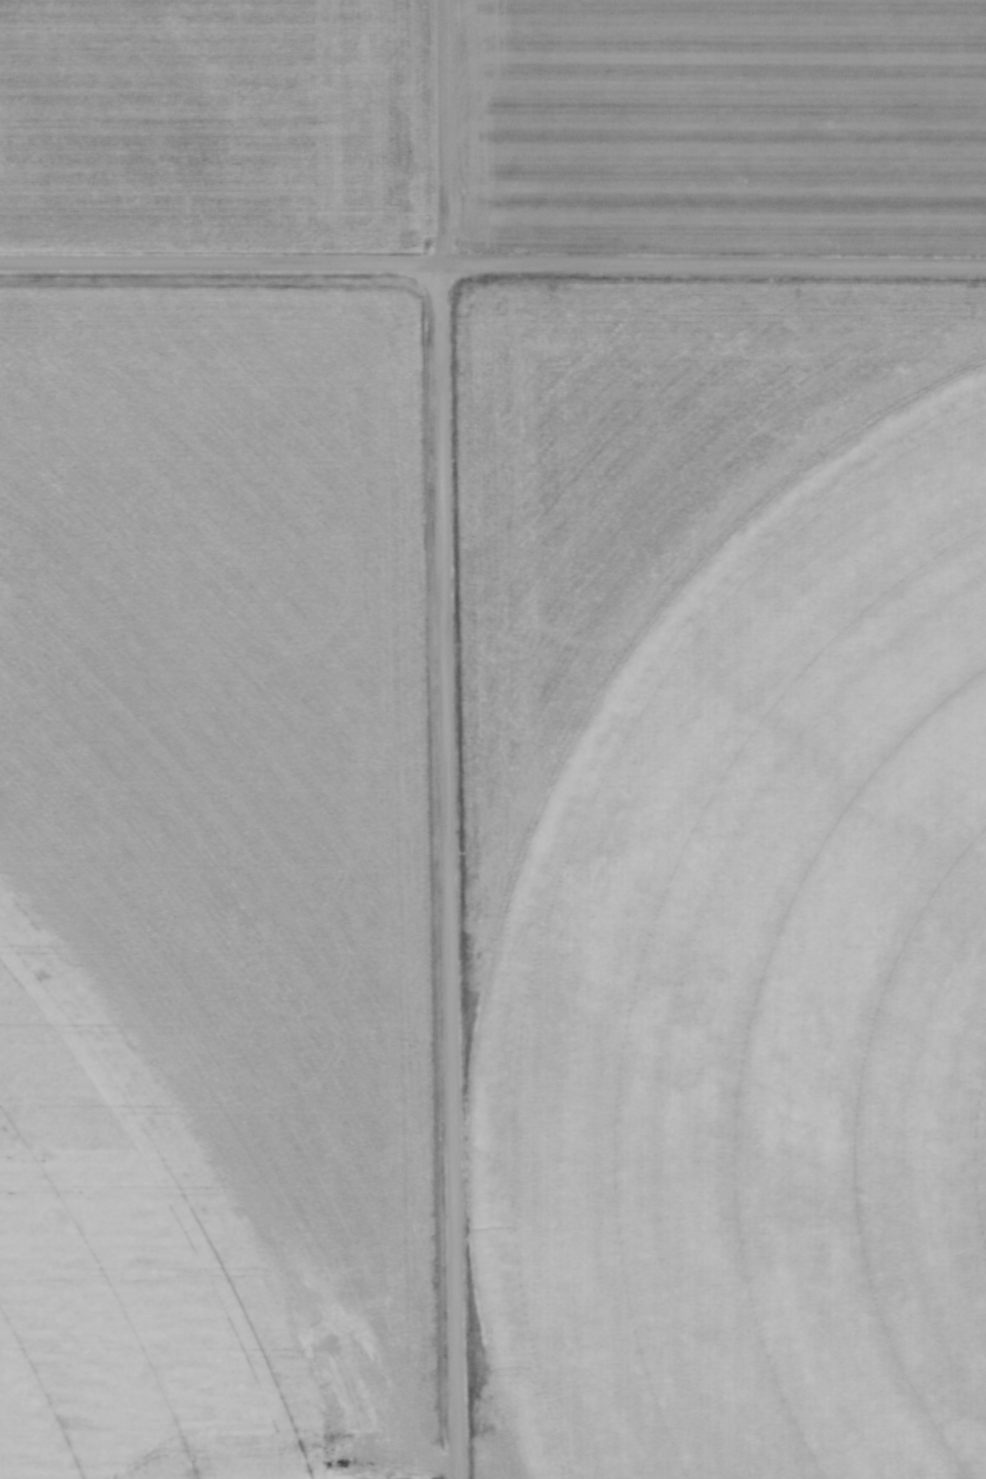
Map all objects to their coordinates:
crop: (494, 123)
road: (219, 262)
road: (712, 264)
road: (444, 871)
crop: (214, 882)
crop: (750, 987)

